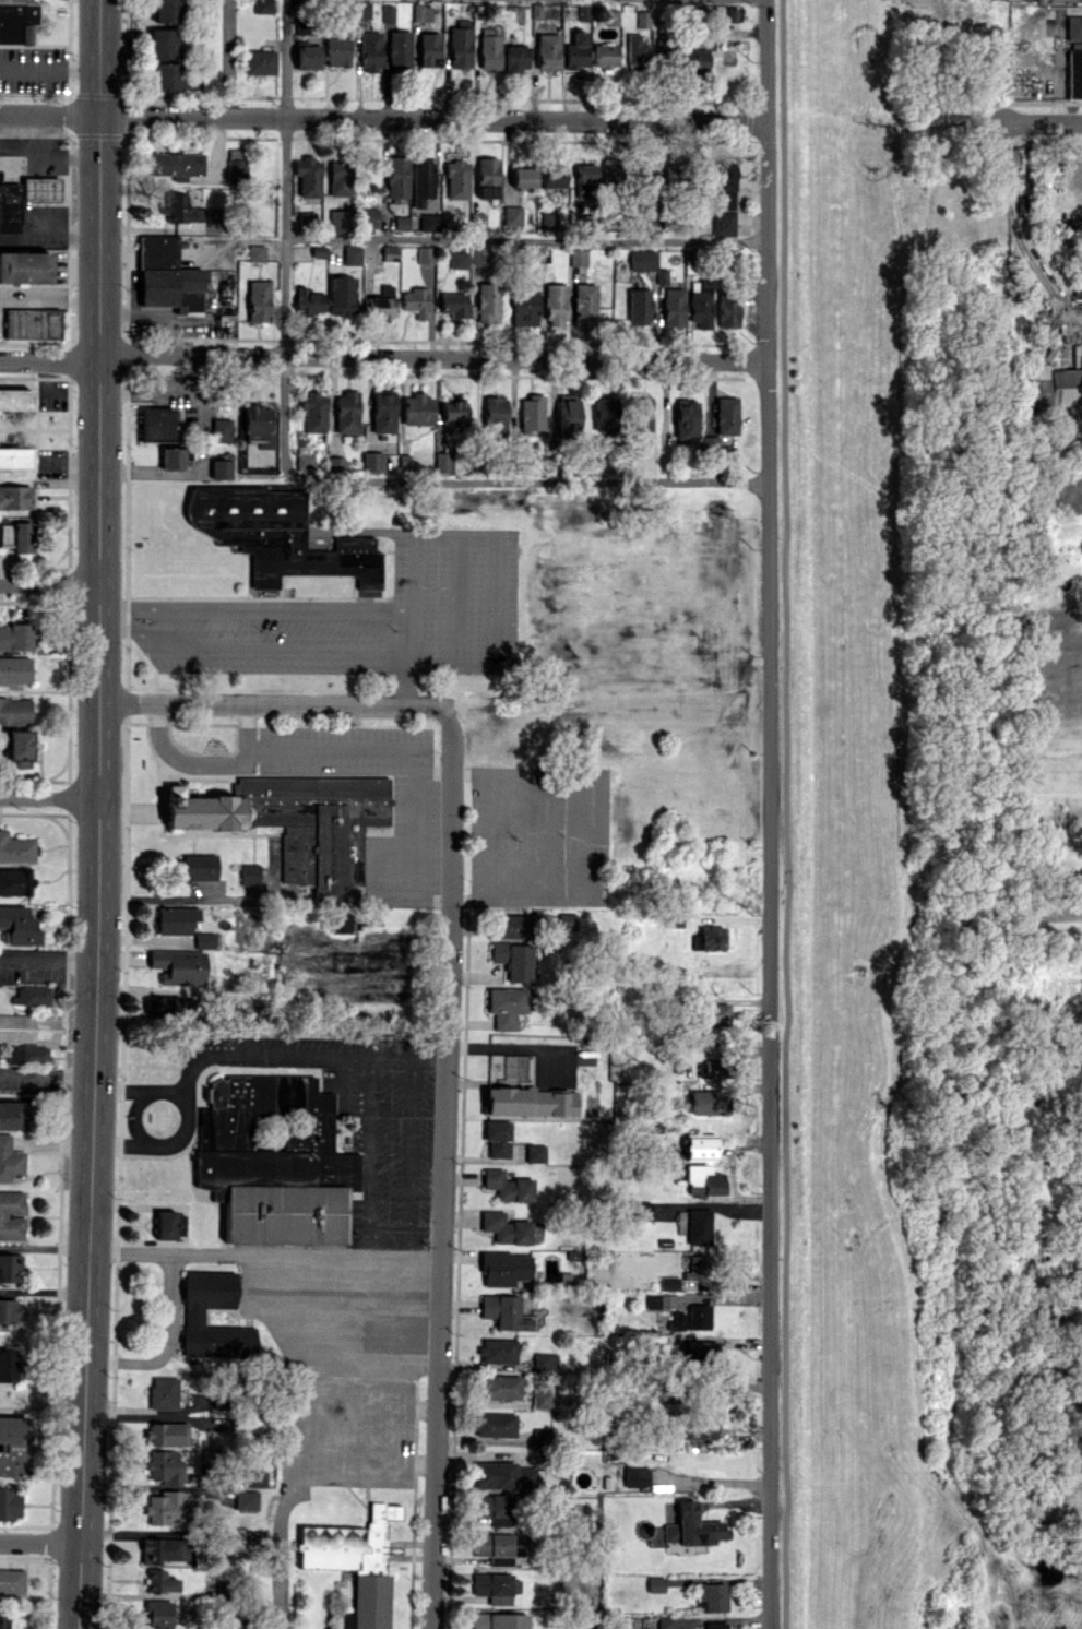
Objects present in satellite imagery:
building: (262, 5)
building: (361, 9)
building: (167, 11)
building: (421, 11)
building: (388, 13)
building: (513, 13)
building: (730, 13)
building: (611, 16)
building: (642, 19)
building: (16, 21)
building: (1073, 24)
building: (302, 26)
building: (163, 43)
building: (211, 44)
building: (460, 44)
building: (665, 48)
building: (399, 49)
building: (429, 49)
building: (576, 50)
building: (635, 50)
building: (337, 51)
building: (370, 51)
building: (547, 55)
building: (605, 55)
building: (307, 56)
building: (515, 58)
building: (694, 60)
building: (259, 61)
road: (49, 68)
building: (1074, 73)
building: (167, 75)
road: (383, 118)
road: (1043, 121)
road: (44, 145)
road: (49, 151)
building: (235, 164)
building: (610, 171)
building: (671, 174)
building: (554, 175)
building: (308, 176)
building: (643, 176)
building: (487, 177)
building: (523, 177)
building: (338, 178)
building: (396, 178)
building: (421, 179)
building: (456, 179)
building: (584, 180)
building: (40, 188)
road: (43, 190)
building: (723, 199)
building: (9, 207)
building: (180, 209)
building: (512, 215)
building: (306, 218)
road: (43, 219)
building: (338, 219)
building: (370, 221)
building: (429, 222)
building: (548, 222)
building: (401, 223)
road: (284, 226)
road: (49, 237)
road: (525, 238)
building: (158, 249)
building: (255, 252)
building: (389, 252)
building: (352, 254)
building: (425, 254)
building: (478, 254)
building: (578, 257)
building: (457, 259)
building: (641, 259)
building: (24, 266)
building: (171, 288)
building: (341, 296)
building: (258, 300)
building: (309, 300)
building: (416, 301)
road: (49, 302)
building: (487, 302)
building: (453, 304)
building: (524, 304)
building: (555, 304)
building: (700, 304)
building: (584, 305)
building: (639, 306)
building: (378, 307)
building: (673, 307)
building: (727, 309)
building: (32, 323)
road: (383, 360)
building: (1078, 360)
building: (1054, 388)
building: (14, 399)
building: (417, 408)
building: (383, 411)
building: (313, 412)
building: (346, 412)
building: (567, 413)
building: (531, 414)
building: (605, 414)
building: (642, 414)
building: (453, 415)
building: (726, 415)
building: (495, 416)
building: (686, 419)
building: (155, 424)
building: (258, 425)
building: (221, 430)
building: (710, 443)
building: (14, 457)
building: (170, 457)
building: (304, 461)
building: (372, 461)
building: (403, 461)
building: (442, 462)
building: (335, 463)
building: (219, 468)
road: (516, 481)
building: (15, 497)
building: (276, 535)
building: (16, 536)
road: (488, 567)
road: (49, 584)
building: (15, 637)
building: (14, 669)
road: (406, 678)
road: (272, 704)
building: (14, 710)
road: (241, 727)
building: (16, 742)
road: (399, 749)
road: (430, 764)
road: (49, 796)
road: (770, 813)
road: (97, 814)
road: (785, 814)
railway: (800, 814)
building: (297, 821)
building: (15, 847)
building: (197, 867)
building: (249, 873)
building: (15, 881)
road: (428, 900)
building: (175, 919)
building: (563, 920)
building: (340, 923)
building: (20, 925)
building: (510, 926)
building: (708, 939)
building: (203, 940)
road: (47, 960)
building: (513, 960)
building: (178, 965)
building: (31, 996)
building: (167, 1004)
building: (504, 1006)
building: (713, 1013)
building: (28, 1036)
road: (298, 1053)
building: (713, 1068)
building: (527, 1101)
building: (705, 1102)
building: (12, 1115)
road: (182, 1117)
building: (269, 1133)
building: (497, 1138)
building: (532, 1152)
building: (10, 1160)
building: (701, 1165)
road: (441, 1169)
building: (508, 1186)
building: (638, 1210)
building: (661, 1210)
building: (283, 1213)
building: (11, 1215)
building: (166, 1224)
building: (697, 1226)
building: (510, 1228)
road: (263, 1255)
building: (9, 1267)
building: (698, 1267)
building: (504, 1268)
building: (668, 1282)
building: (659, 1299)
building: (7, 1310)
building: (504, 1311)
building: (191, 1317)
building: (690, 1318)
road: (164, 1341)
building: (698, 1349)
building: (497, 1351)
building: (545, 1362)
building: (7, 1365)
building: (499, 1387)
building: (163, 1392)
building: (542, 1398)
building: (495, 1424)
building: (697, 1428)
building: (166, 1432)
building: (12, 1443)
road: (289, 1450)
road: (361, 1462)
building: (162, 1466)
building: (502, 1475)
building: (635, 1476)
building: (255, 1477)
building: (245, 1499)
building: (9, 1502)
building: (167, 1506)
building: (495, 1508)
building: (691, 1526)
road: (40, 1542)
building: (499, 1547)
building: (163, 1549)
building: (354, 1562)
building: (11, 1580)
building: (159, 1581)
building: (655, 1583)
building: (492, 1586)
building: (710, 1596)
building: (157, 1614)
building: (3, 1619)
building: (498, 1620)
building: (666, 1621)
building: (714, 1625)

